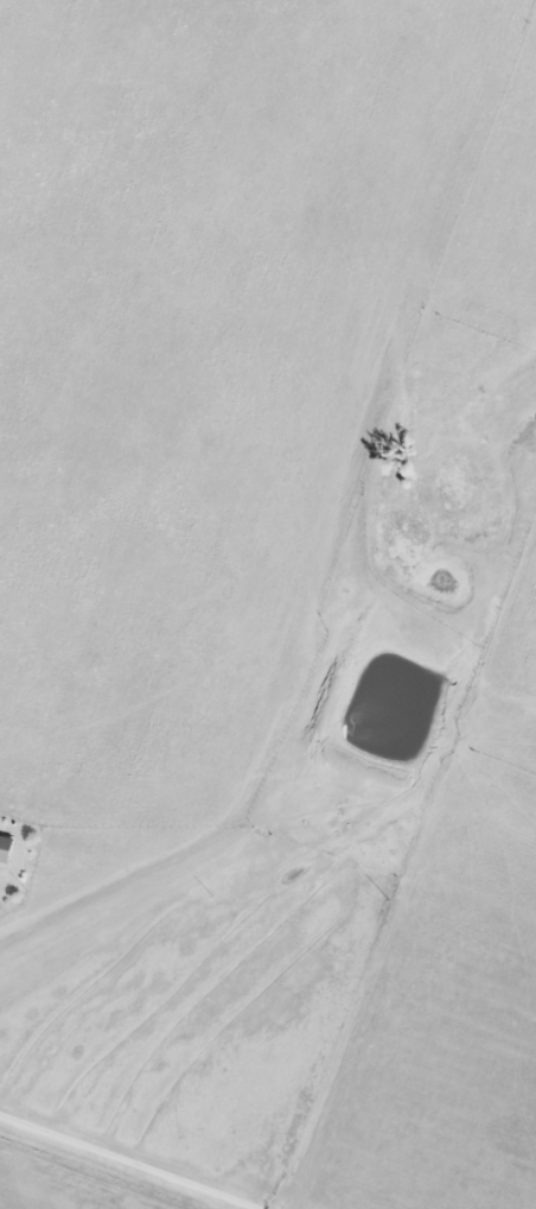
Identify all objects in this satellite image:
building: (5, 848)
road: (129, 1161)

